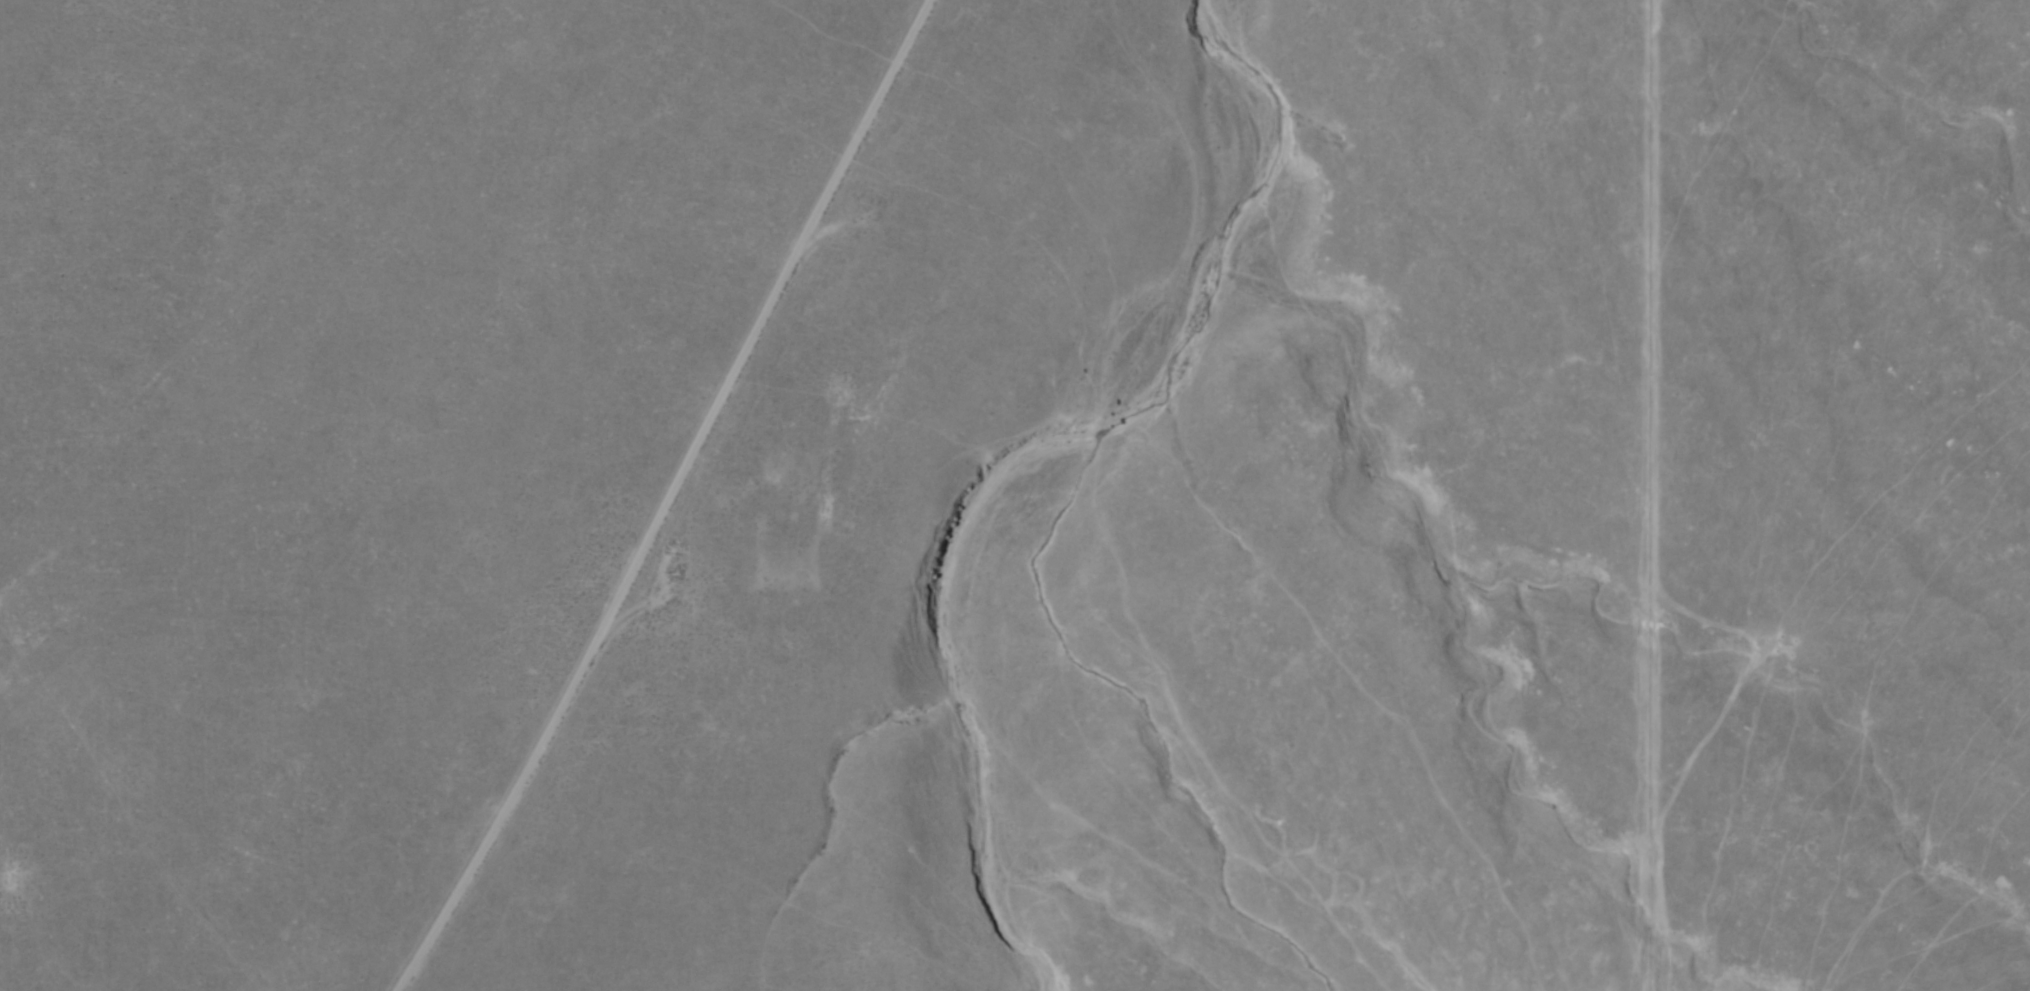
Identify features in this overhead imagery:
road: (676, 499)

